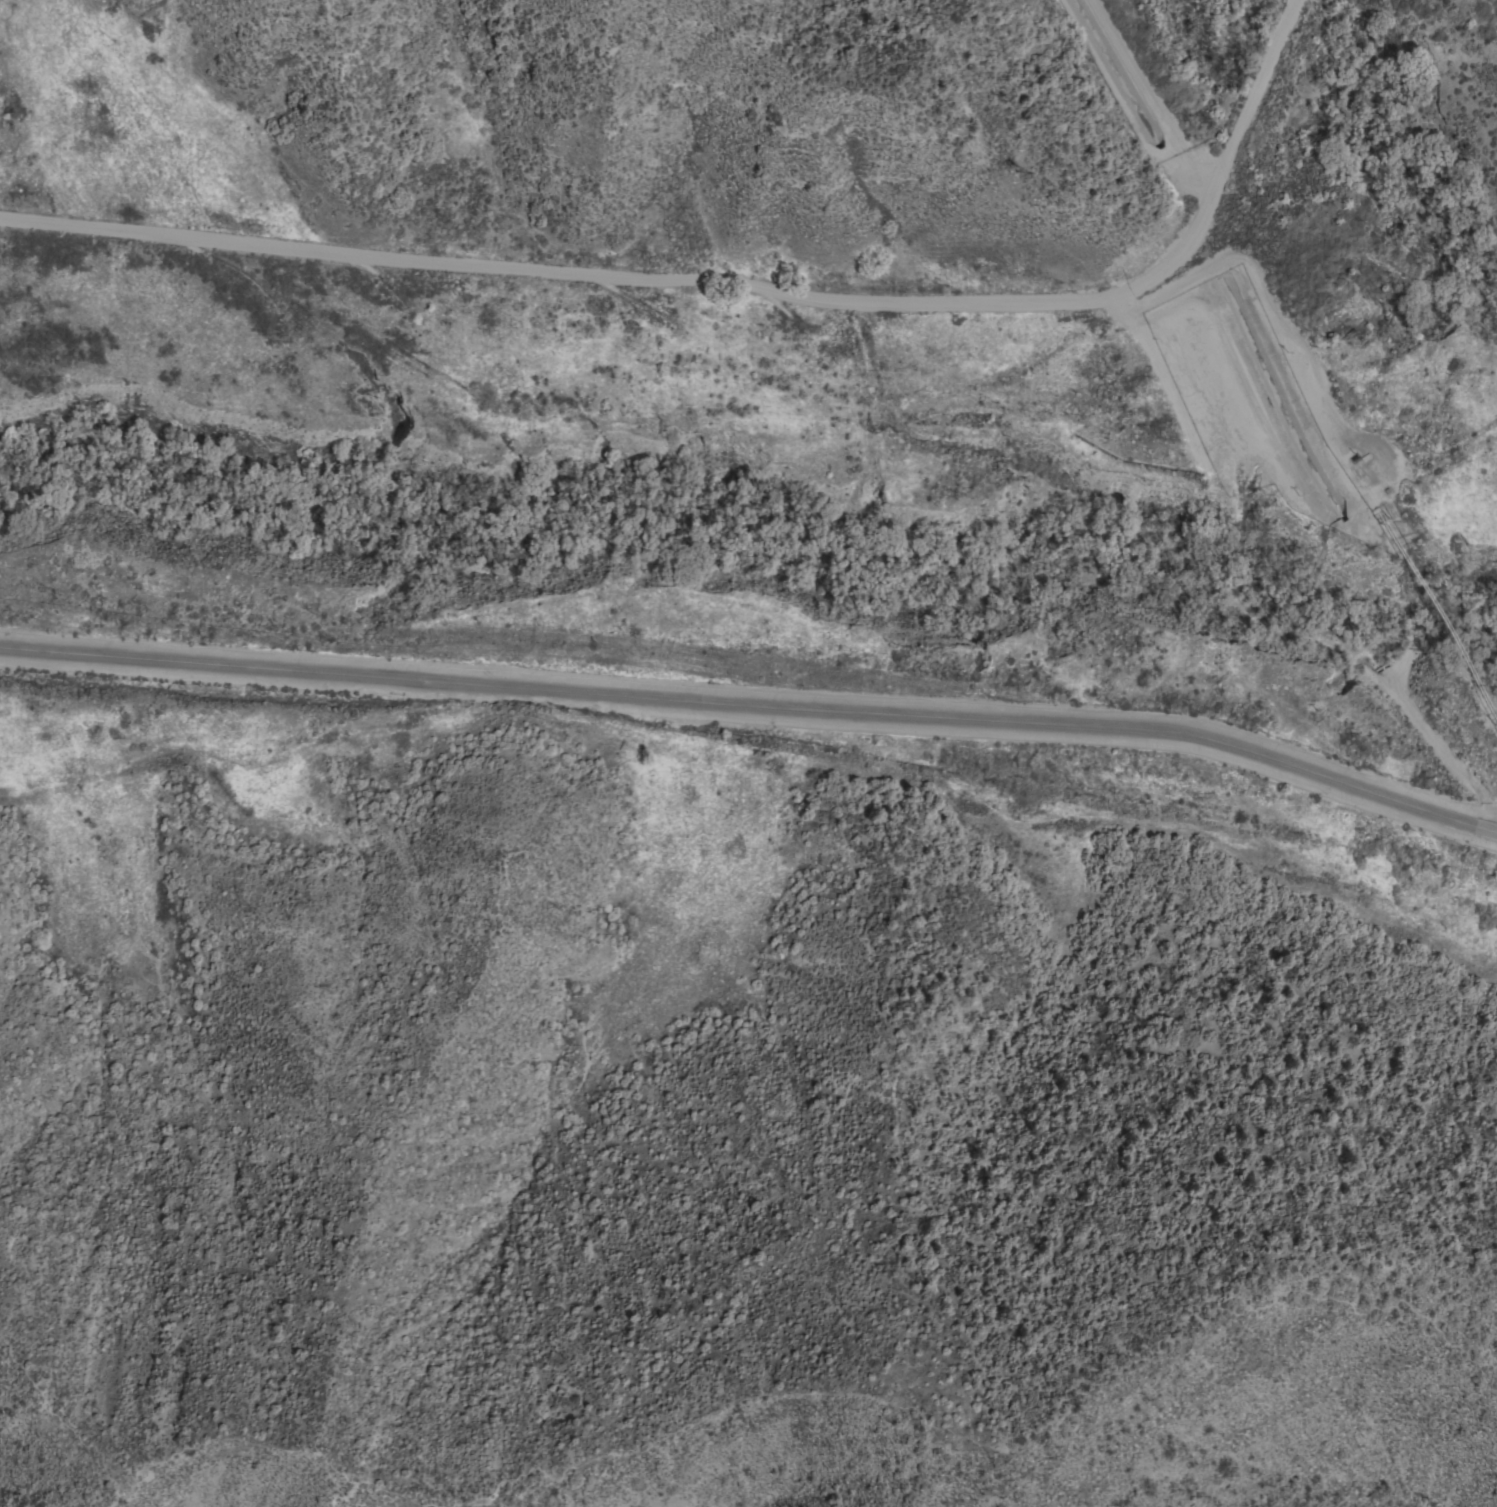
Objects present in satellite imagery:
power tower: (1018, 178)
road: (737, 283)
road: (755, 707)

